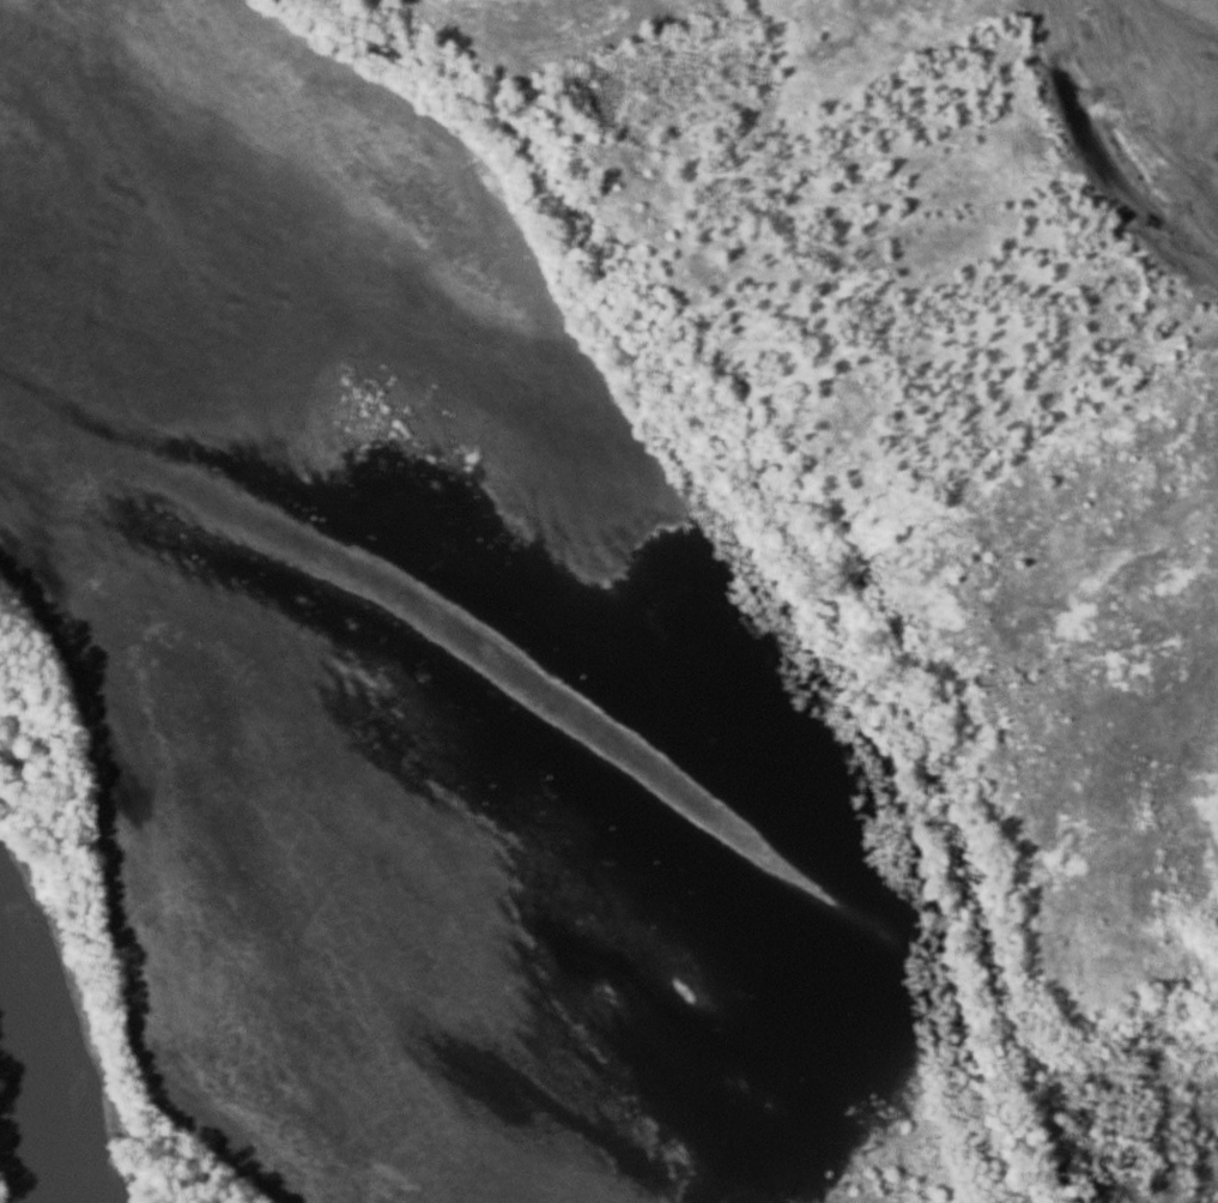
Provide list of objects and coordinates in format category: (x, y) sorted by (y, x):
river: (5, 1160)

